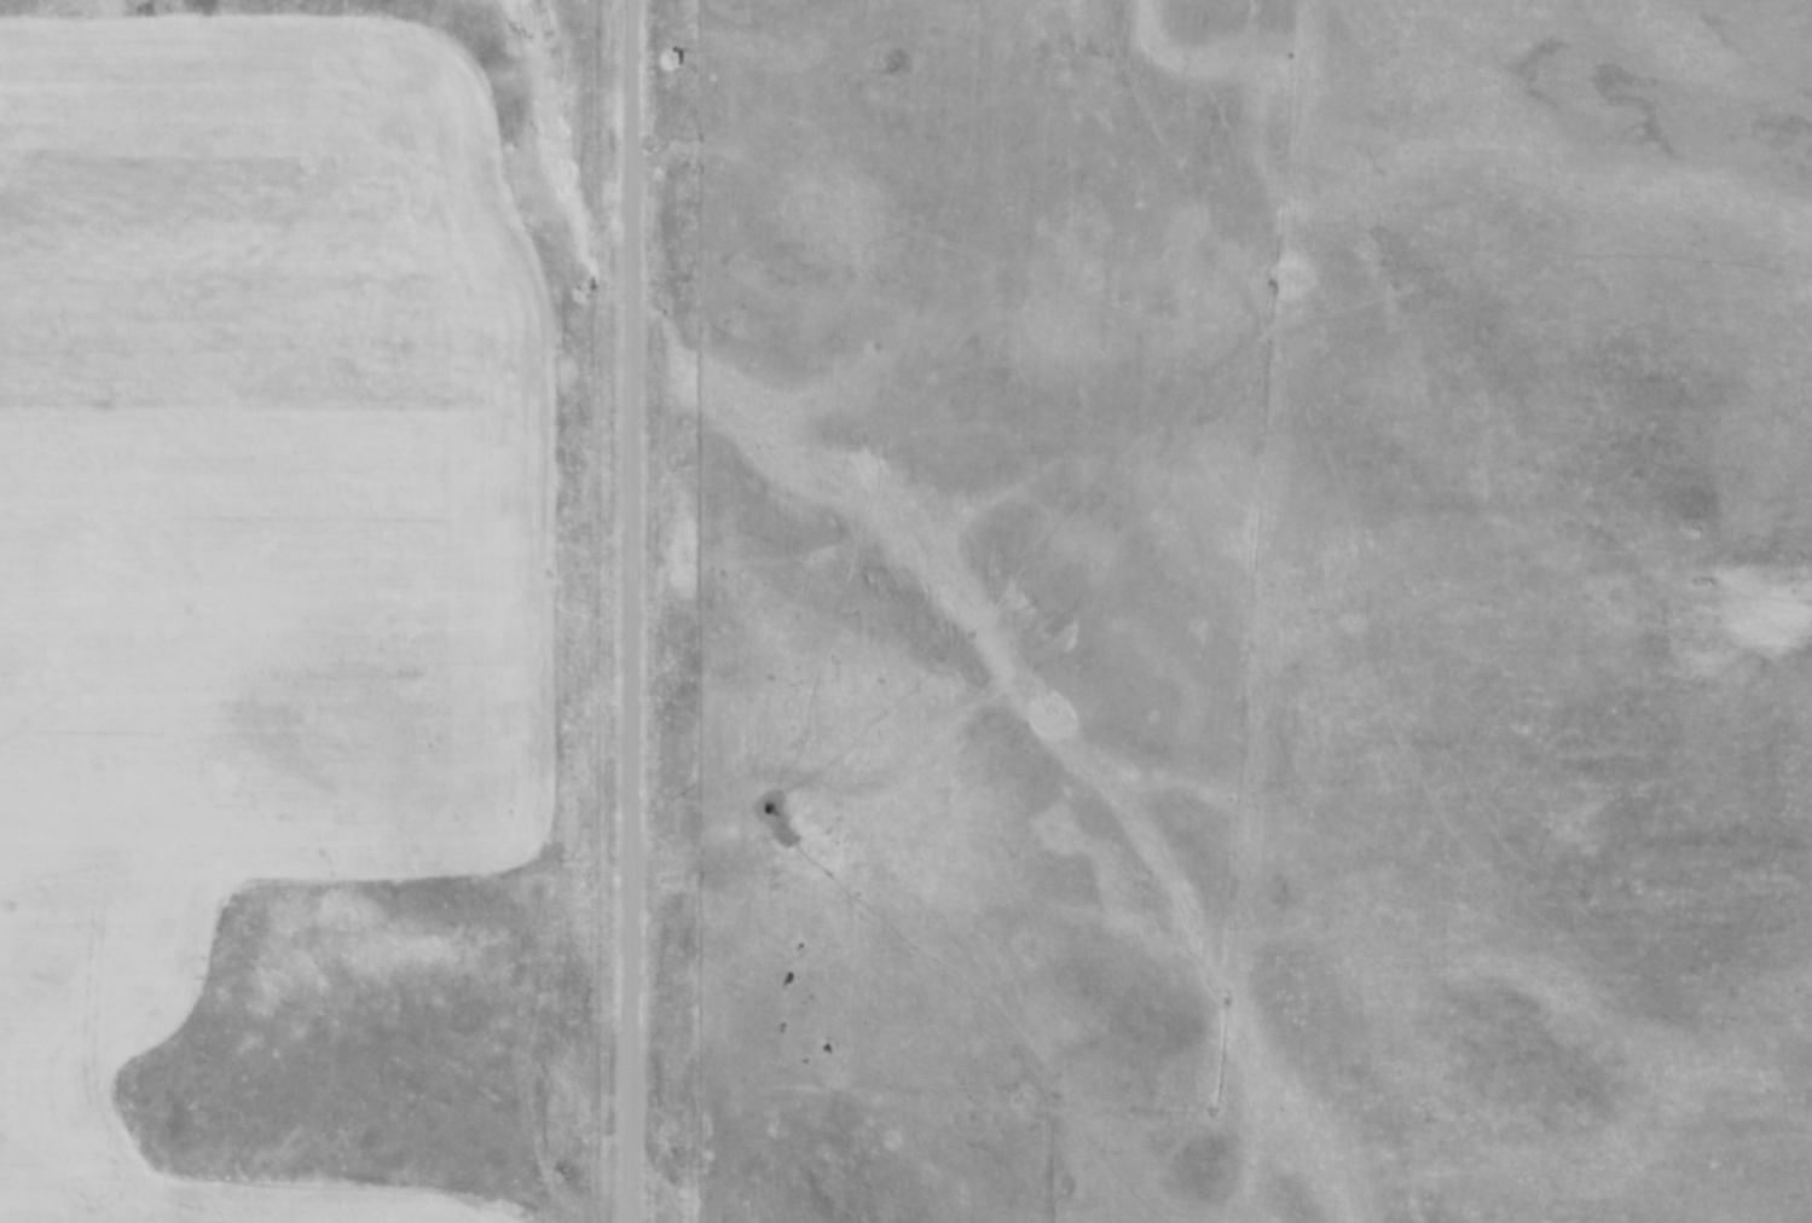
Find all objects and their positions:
road: (627, 610)

